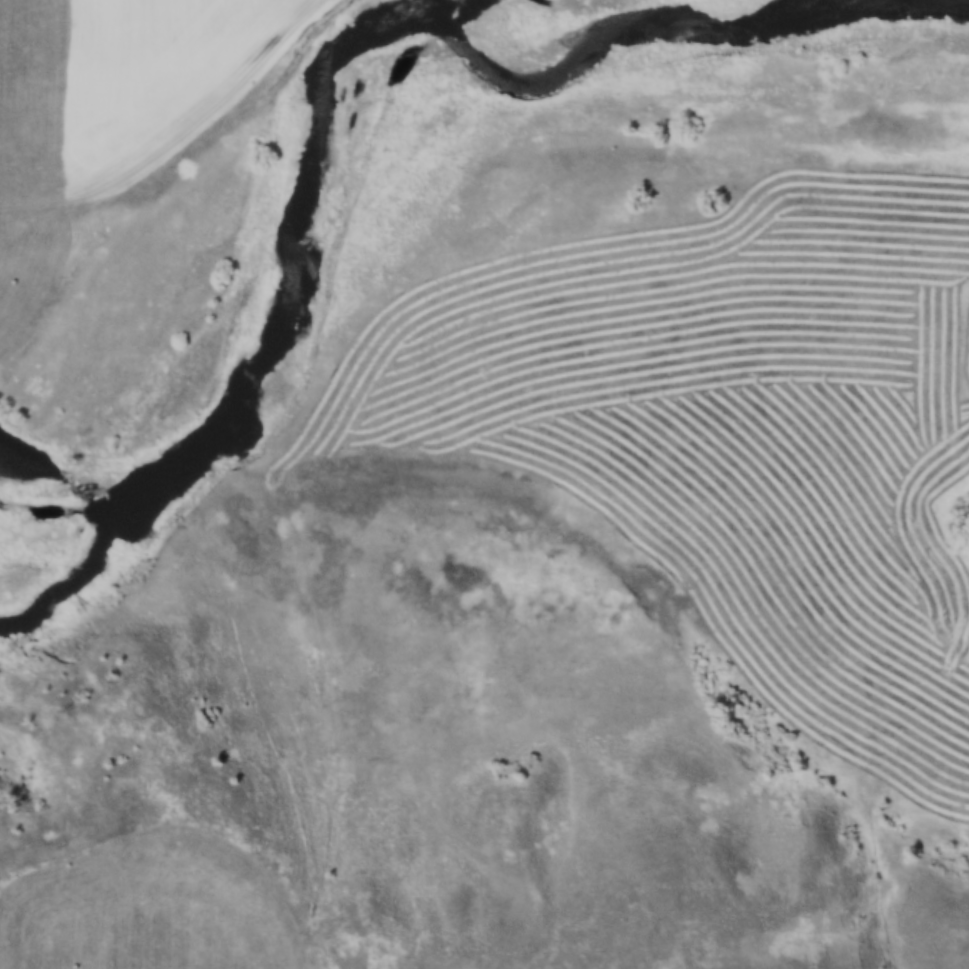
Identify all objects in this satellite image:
road: (230, 105)
river: (317, 138)

